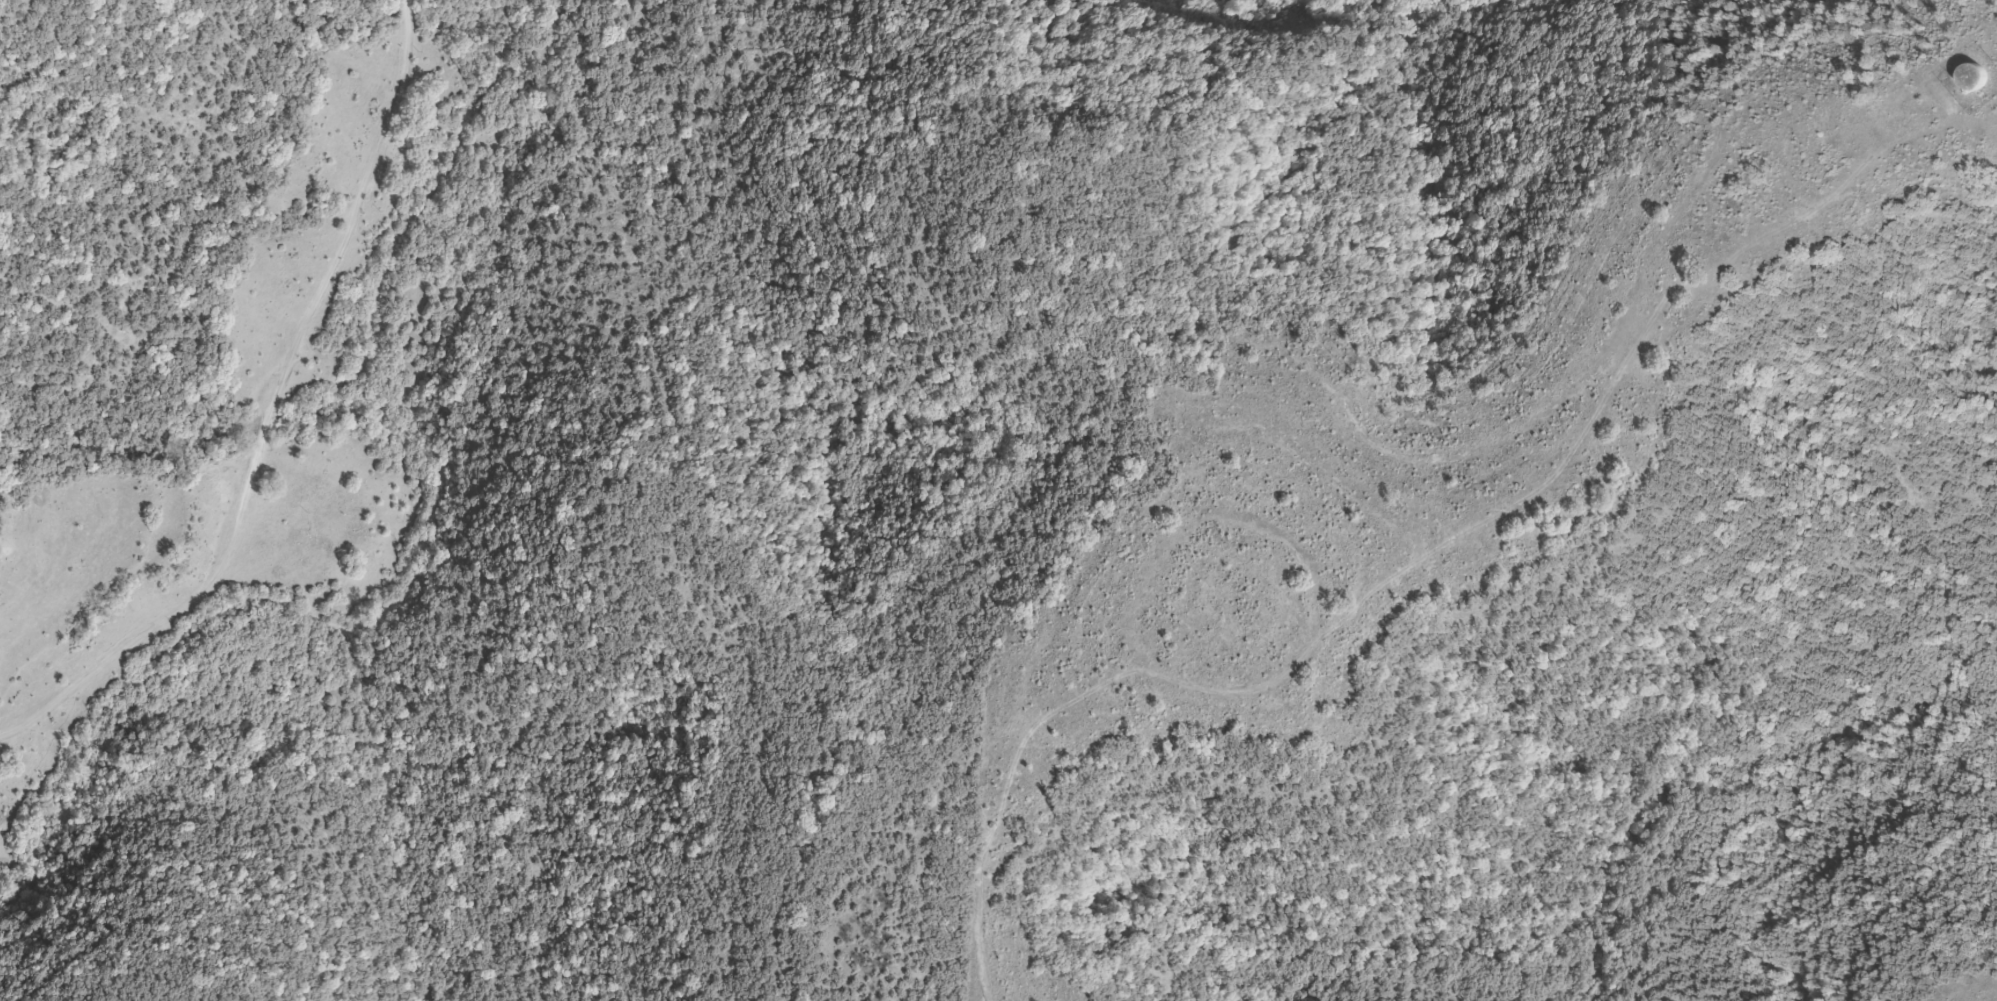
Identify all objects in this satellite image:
building: (1971, 76)

